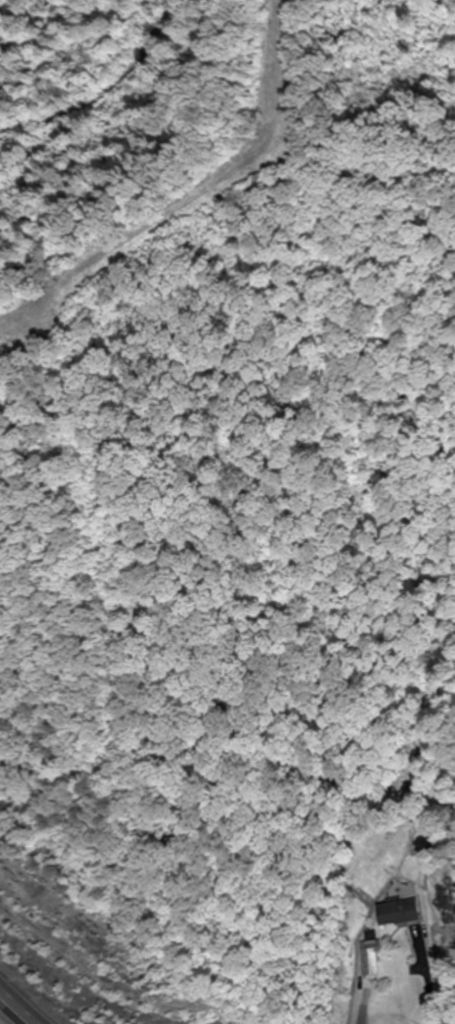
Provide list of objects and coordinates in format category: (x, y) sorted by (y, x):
building: (399, 913)
building: (371, 961)
road: (16, 1009)

